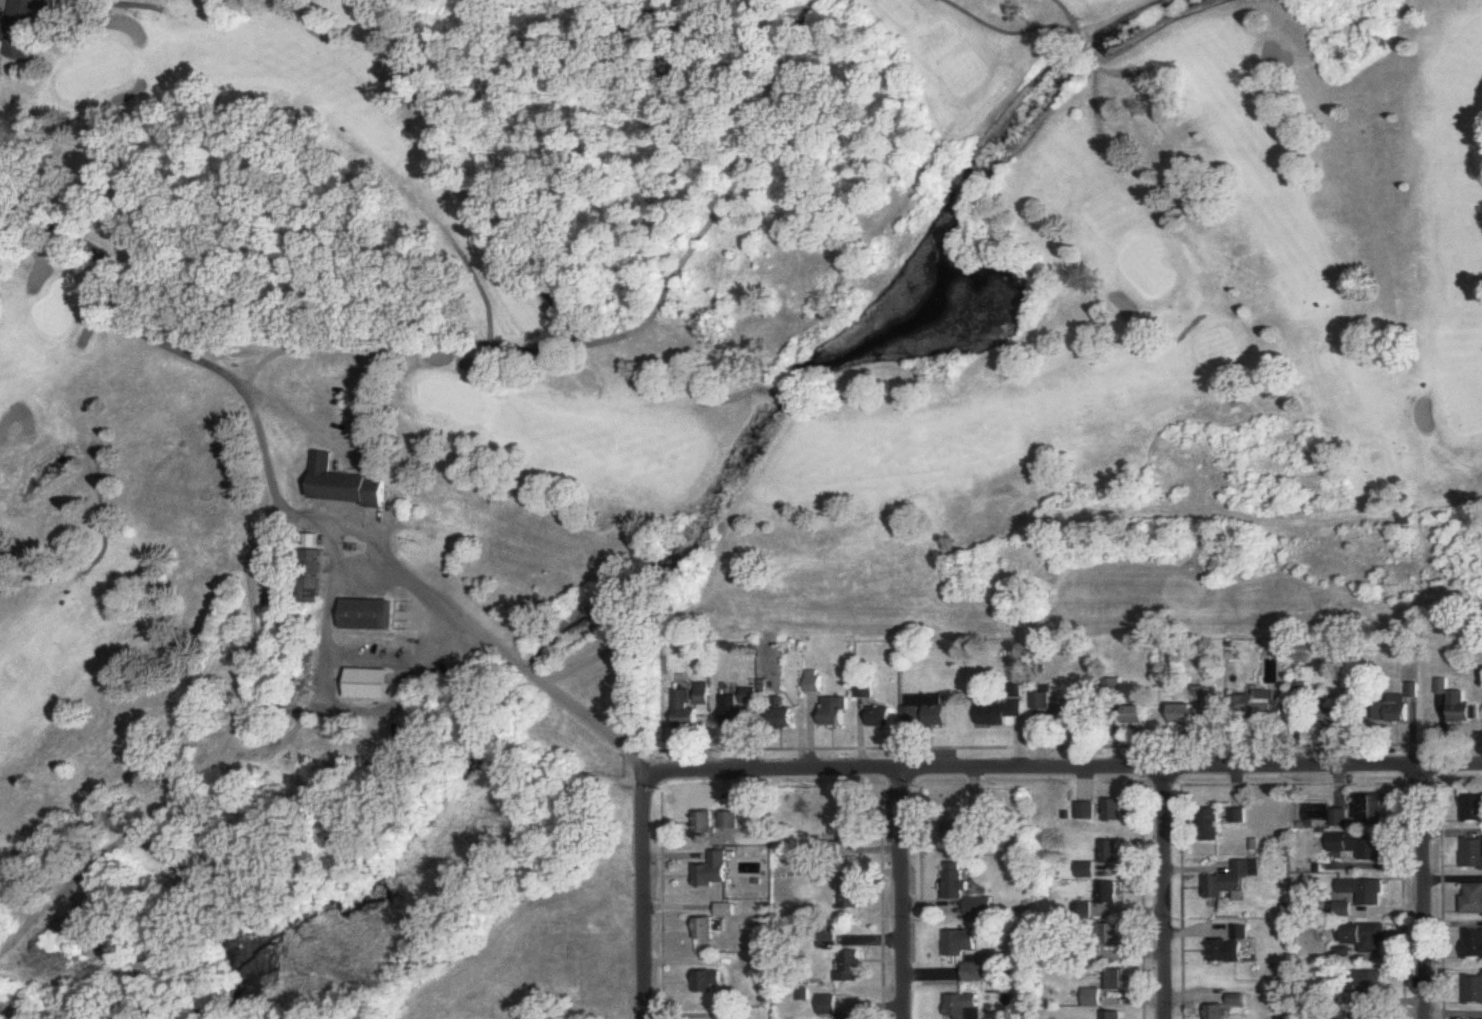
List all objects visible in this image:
building: (21, 28)
park: (648, 419)
building: (348, 485)
river: (715, 507)
building: (310, 575)
building: (369, 616)
road: (497, 648)
building: (370, 684)
building: (1302, 688)
building: (1041, 702)
building: (1002, 705)
building: (1261, 706)
building: (690, 708)
building: (1463, 709)
building: (1333, 710)
building: (837, 712)
building: (1196, 712)
building: (1397, 712)
building: (736, 713)
building: (926, 713)
building: (1071, 714)
building: (1132, 715)
building: (881, 717)
building: (782, 718)
road: (1064, 773)
building: (1373, 807)
building: (1473, 807)
building: (1086, 811)
building: (1115, 811)
building: (973, 815)
building: (1238, 817)
building: (1340, 818)
building: (728, 821)
building: (705, 823)
building: (1213, 825)
building: (852, 833)
building: (1358, 845)
building: (1113, 853)
building: (1473, 855)
building: (713, 871)
building: (956, 881)
building: (1229, 881)
building: (1363, 891)
building: (1110, 893)
road: (1422, 893)
road: (1164, 895)
road: (643, 897)
road: (904, 897)
building: (852, 898)
building: (1472, 899)
building: (985, 906)
building: (1083, 910)
building: (706, 929)
building: (1114, 935)
building: (1369, 937)
building: (961, 943)
building: (1473, 944)
building: (1231, 947)
building: (852, 967)
building: (977, 972)
building: (1117, 980)
building: (710, 982)
building: (1368, 985)
building: (1473, 989)
building: (829, 1005)
building: (966, 1007)
building: (1227, 1007)
building: (1114, 1015)

